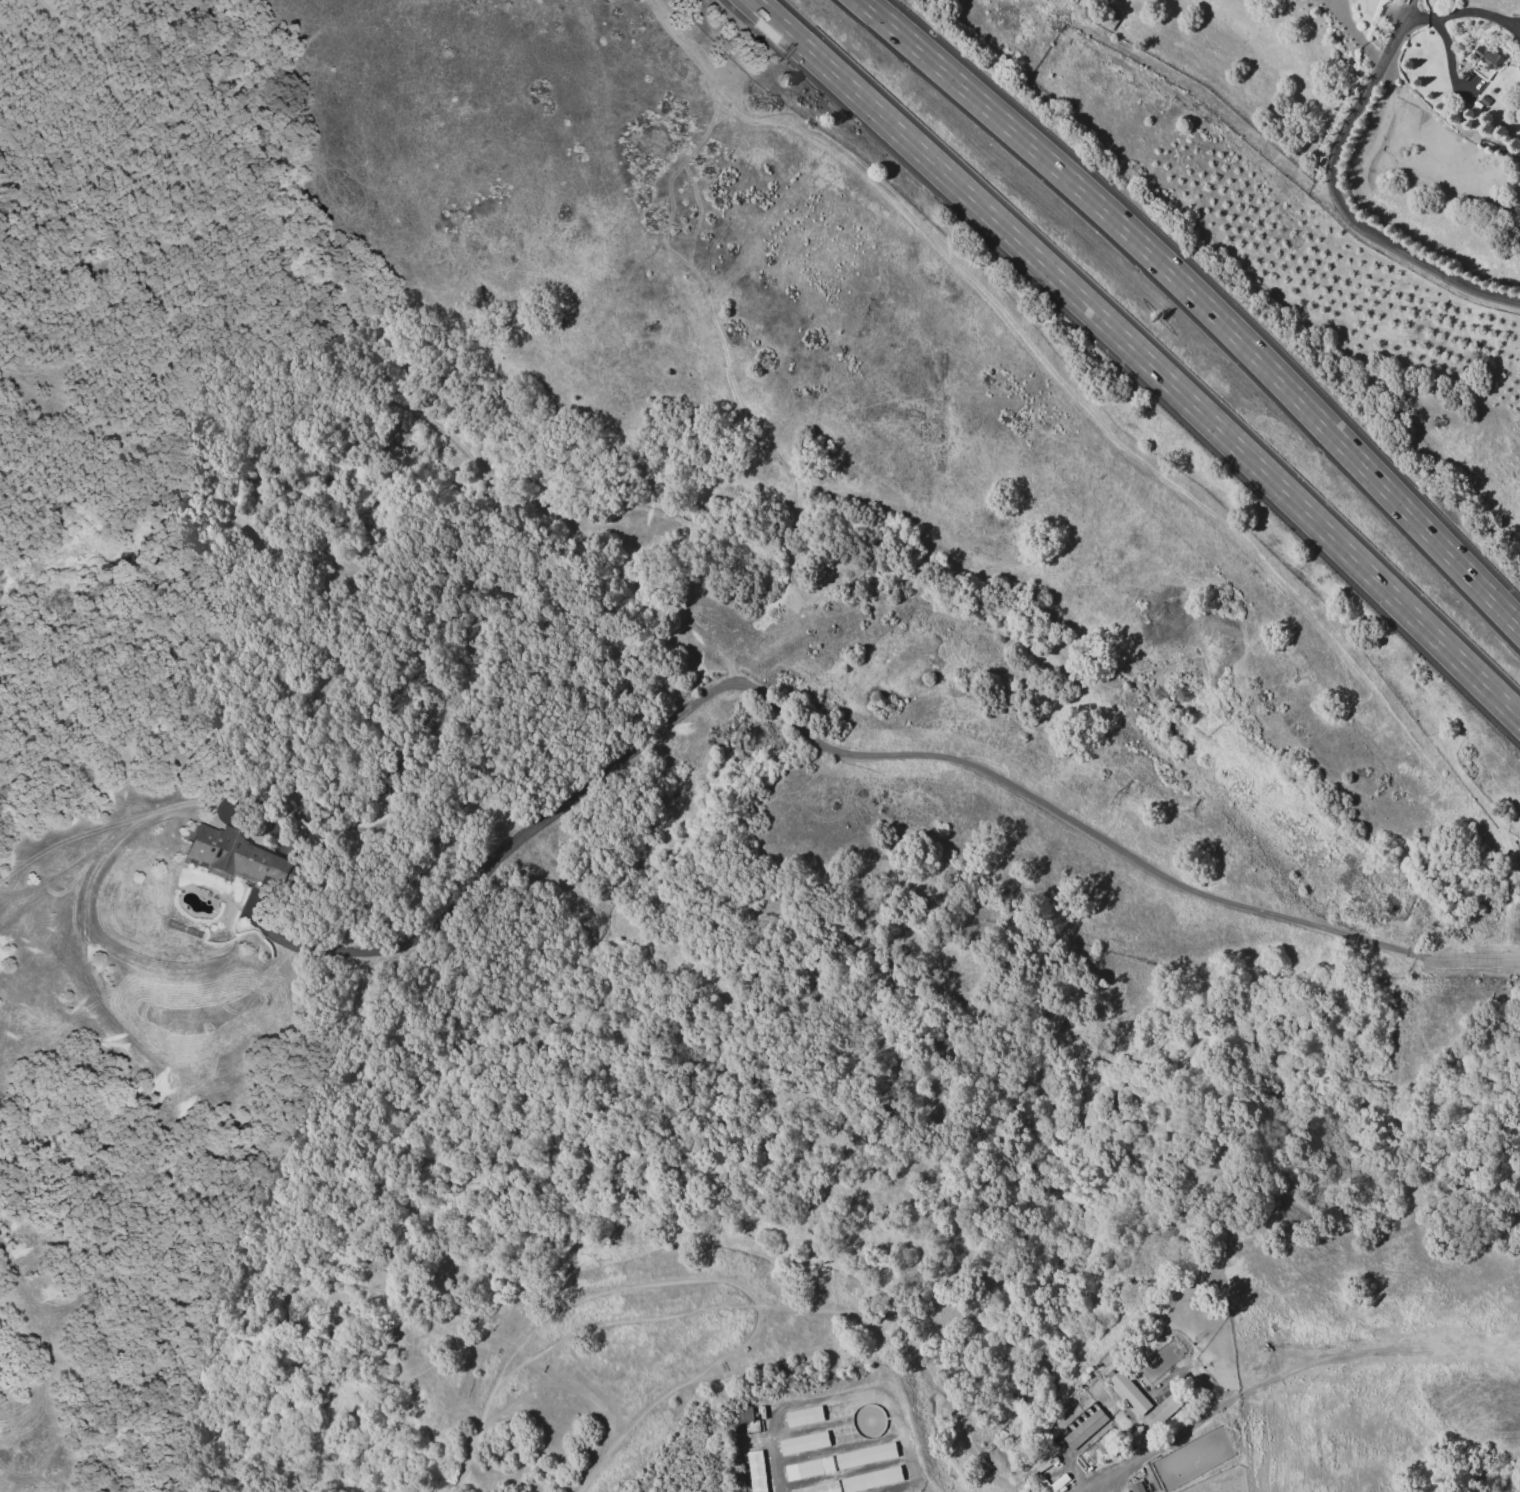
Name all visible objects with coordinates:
road: (1333, 3)
road: (1465, 14)
road: (1356, 33)
building: (1487, 58)
road: (1448, 63)
building: (1485, 101)
road: (1336, 203)
road: (1202, 302)
road: (1140, 355)
road: (803, 734)
building: (232, 855)
building: (173, 926)
building: (192, 933)
road: (1472, 959)
building: (1161, 1355)
building: (1150, 1365)
building: (1129, 1395)
building: (854, 1407)
building: (1161, 1412)
building: (743, 1417)
building: (803, 1418)
building: (1084, 1431)
building: (860, 1432)
building: (802, 1445)
building: (864, 1457)
building: (1041, 1463)
building: (911, 1466)
building: (807, 1470)
building: (755, 1472)
road: (1110, 1473)
building: (1144, 1476)
building: (1045, 1479)
building: (871, 1481)
building: (1049, 1486)
building: (1137, 1487)
building: (820, 1488)

